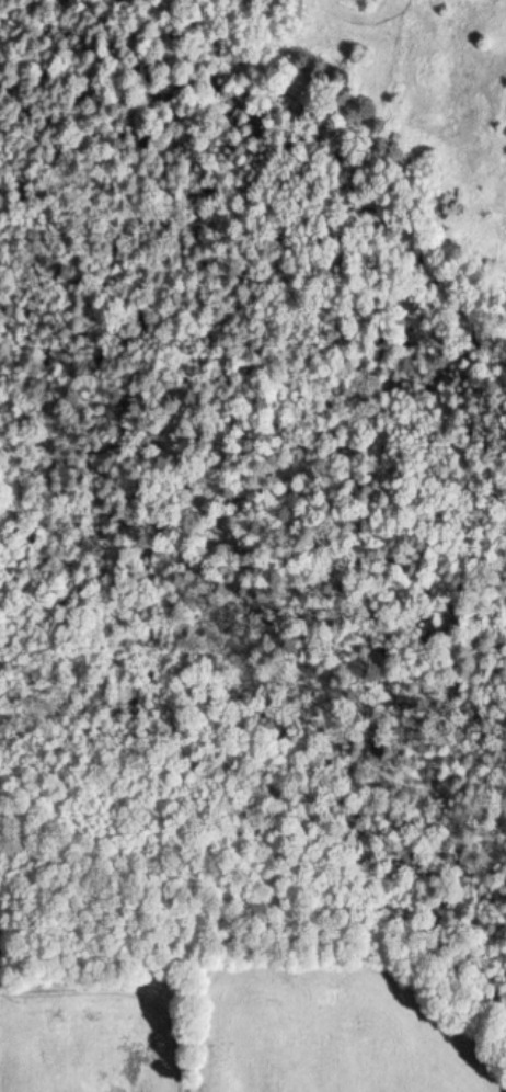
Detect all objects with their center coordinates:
building: (301, 12)

